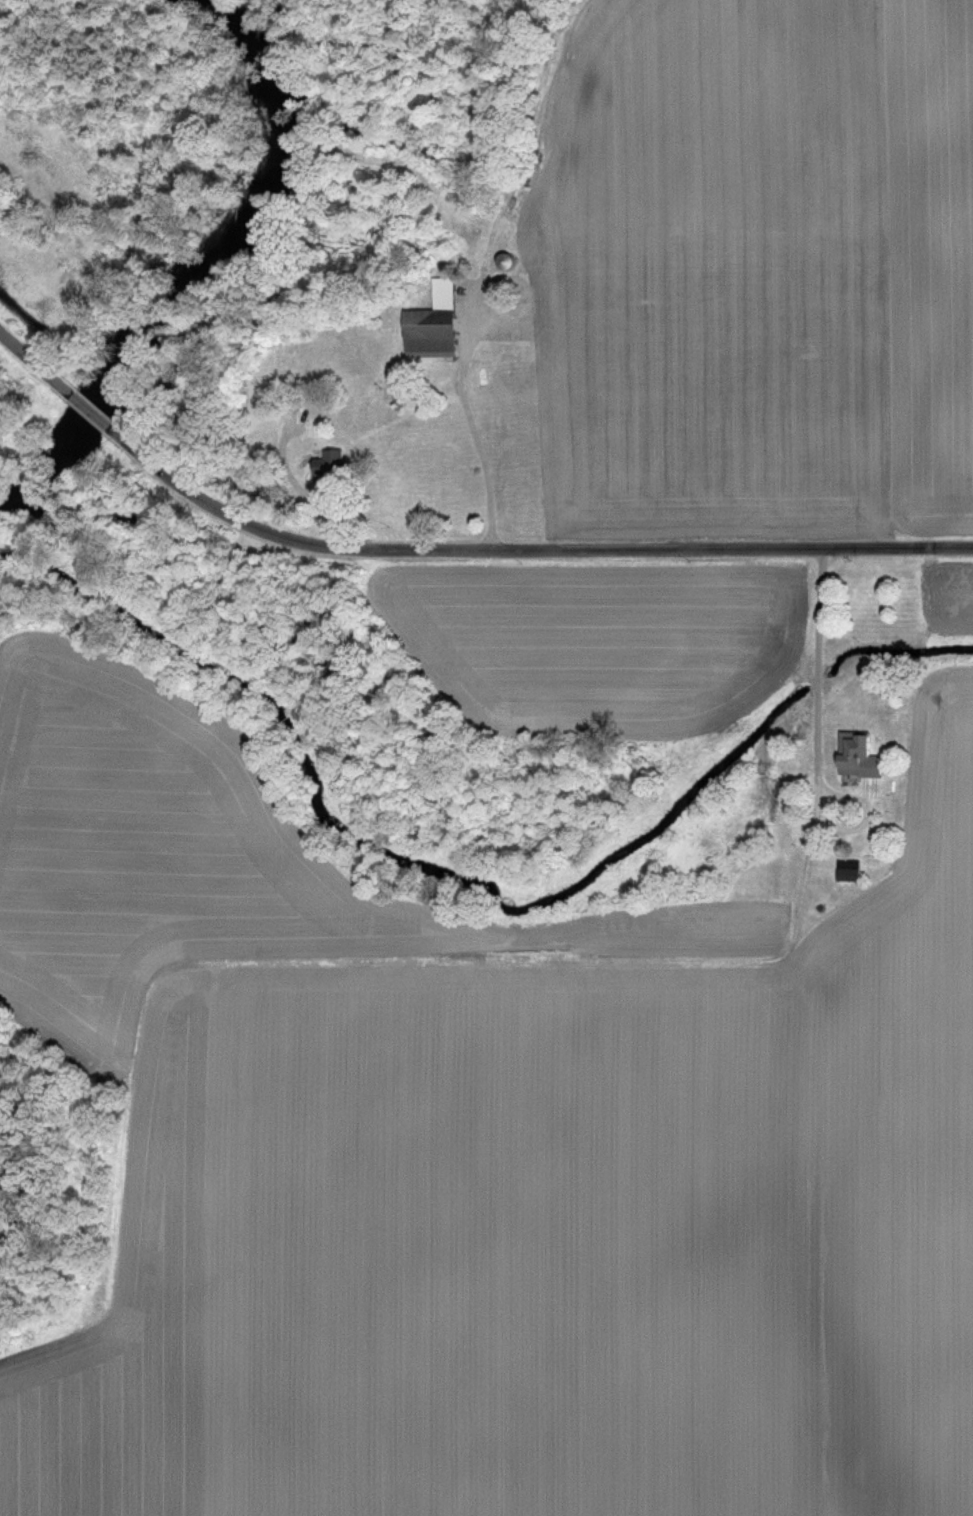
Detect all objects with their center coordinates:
building: (501, 260)
river: (207, 262)
road: (499, 315)
building: (429, 324)
road: (36, 356)
road: (468, 398)
road: (93, 407)
building: (326, 463)
road: (495, 542)
road: (524, 545)
road: (823, 548)
road: (820, 685)
building: (854, 756)

